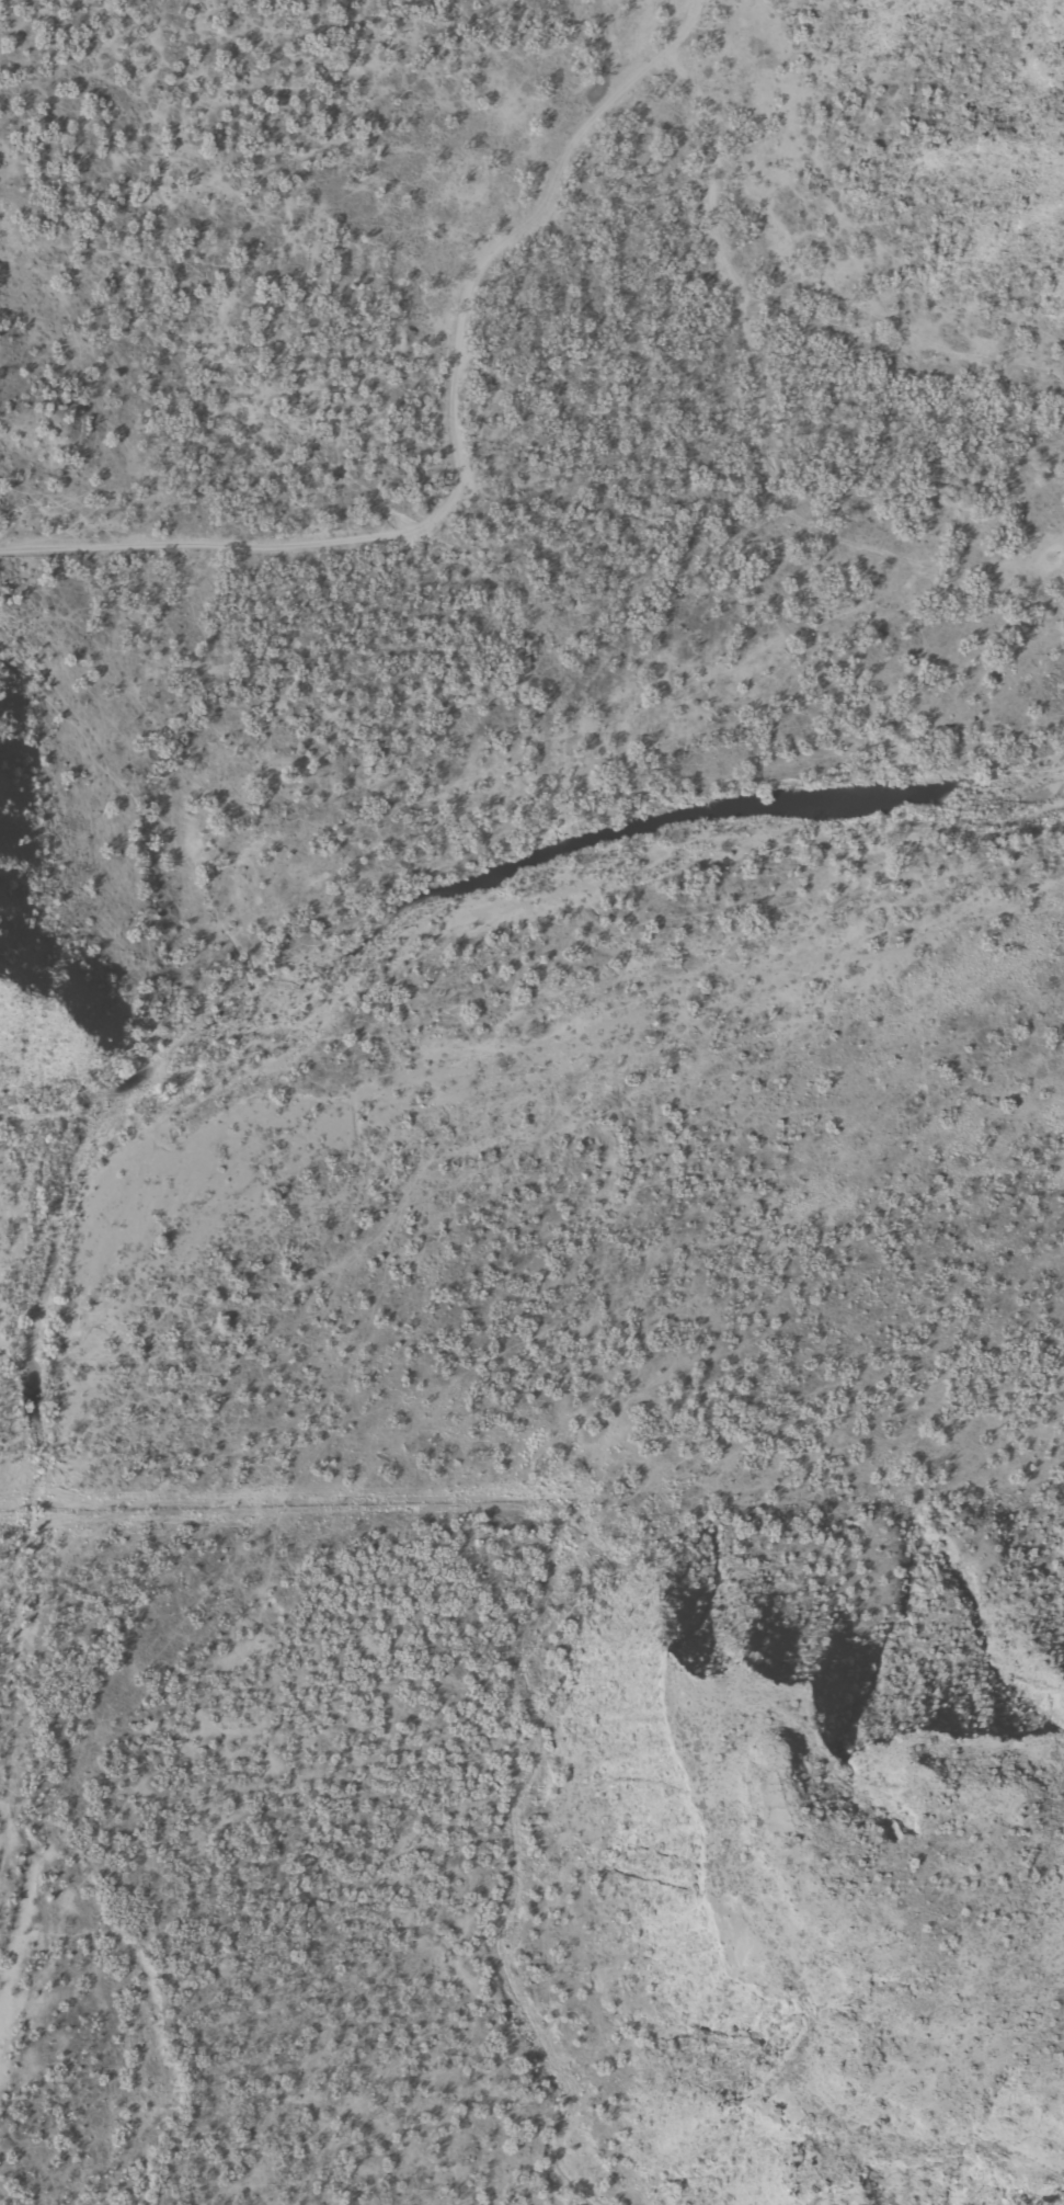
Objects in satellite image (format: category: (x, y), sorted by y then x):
road: (237, 395)

